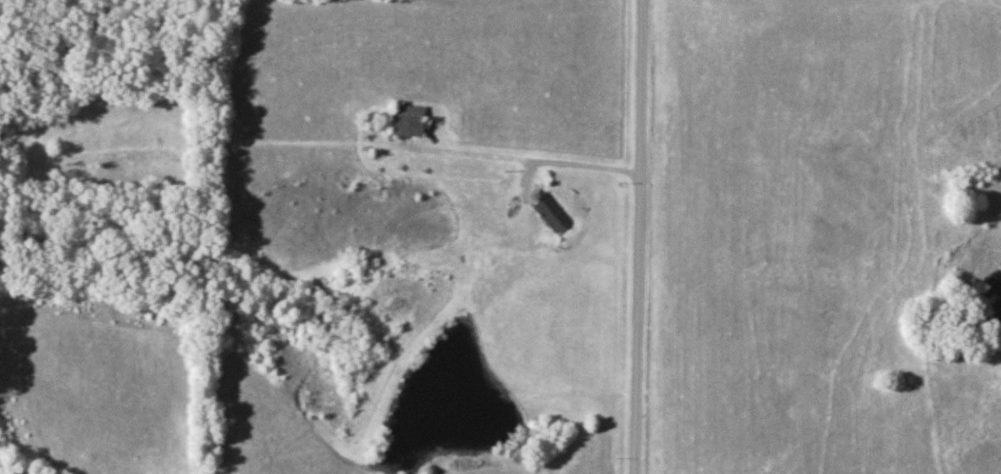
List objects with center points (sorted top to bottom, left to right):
building: (404, 121)
road: (517, 157)
building: (551, 214)
road: (639, 237)

